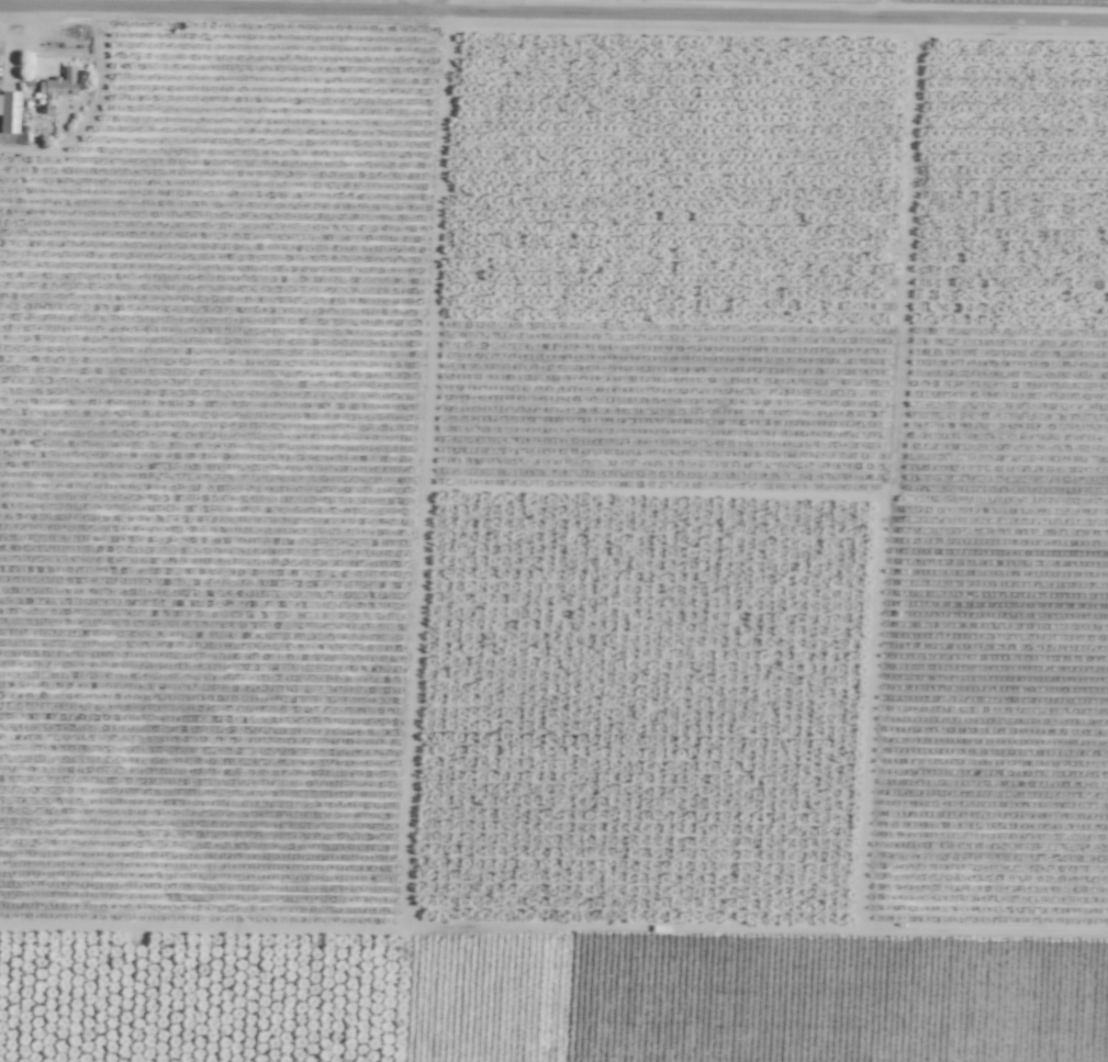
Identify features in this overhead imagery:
road: (553, 20)
building: (55, 88)
building: (7, 123)

